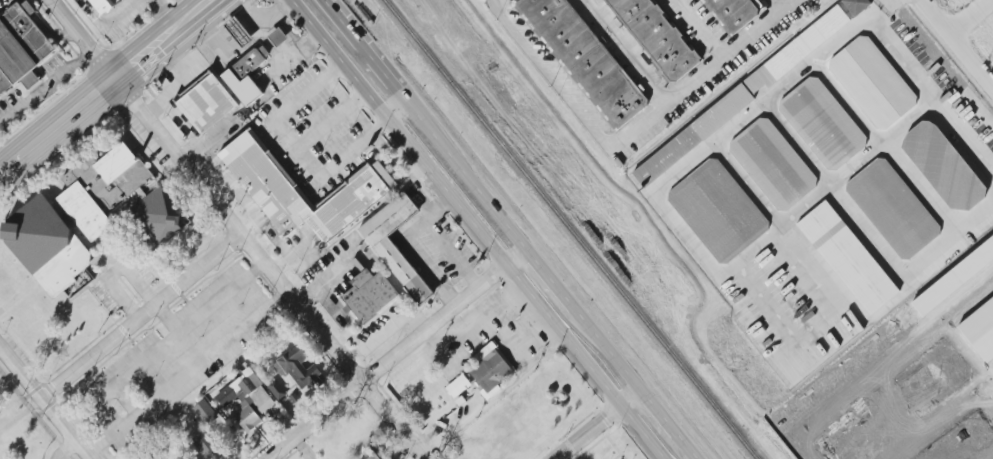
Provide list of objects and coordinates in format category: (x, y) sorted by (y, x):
road: (501, 1)
road: (777, 4)
building: (102, 5)
building: (857, 6)
road: (166, 12)
building: (729, 13)
road: (966, 15)
road: (182, 19)
road: (702, 27)
building: (239, 32)
road: (89, 35)
building: (654, 36)
building: (278, 37)
road: (958, 42)
road: (360, 46)
road: (628, 51)
building: (19, 55)
road: (138, 55)
building: (582, 59)
road: (556, 74)
road: (702, 74)
building: (246, 75)
building: (873, 82)
road: (48, 83)
building: (740, 96)
building: (206, 103)
road: (59, 119)
building: (823, 123)
building: (773, 164)
building: (944, 167)
building: (258, 172)
building: (102, 187)
road: (445, 208)
building: (893, 209)
building: (721, 212)
building: (154, 219)
road: (424, 223)
road: (480, 229)
railway: (570, 229)
building: (47, 245)
road: (450, 253)
building: (850, 257)
road: (275, 264)
building: (398, 265)
road: (425, 265)
road: (546, 275)
building: (955, 279)
road: (542, 285)
building: (369, 295)
road: (141, 307)
road: (176, 330)
building: (981, 331)
road: (169, 341)
road: (389, 352)
road: (192, 369)
building: (490, 369)
building: (300, 370)
building: (842, 372)
building: (458, 386)
building: (276, 389)
building: (226, 396)
road: (47, 400)
building: (992, 400)
building: (251, 404)
building: (899, 405)
building: (206, 412)
road: (591, 422)
road: (654, 424)
building: (964, 440)
building: (208, 446)
road: (67, 447)
building: (371, 455)

